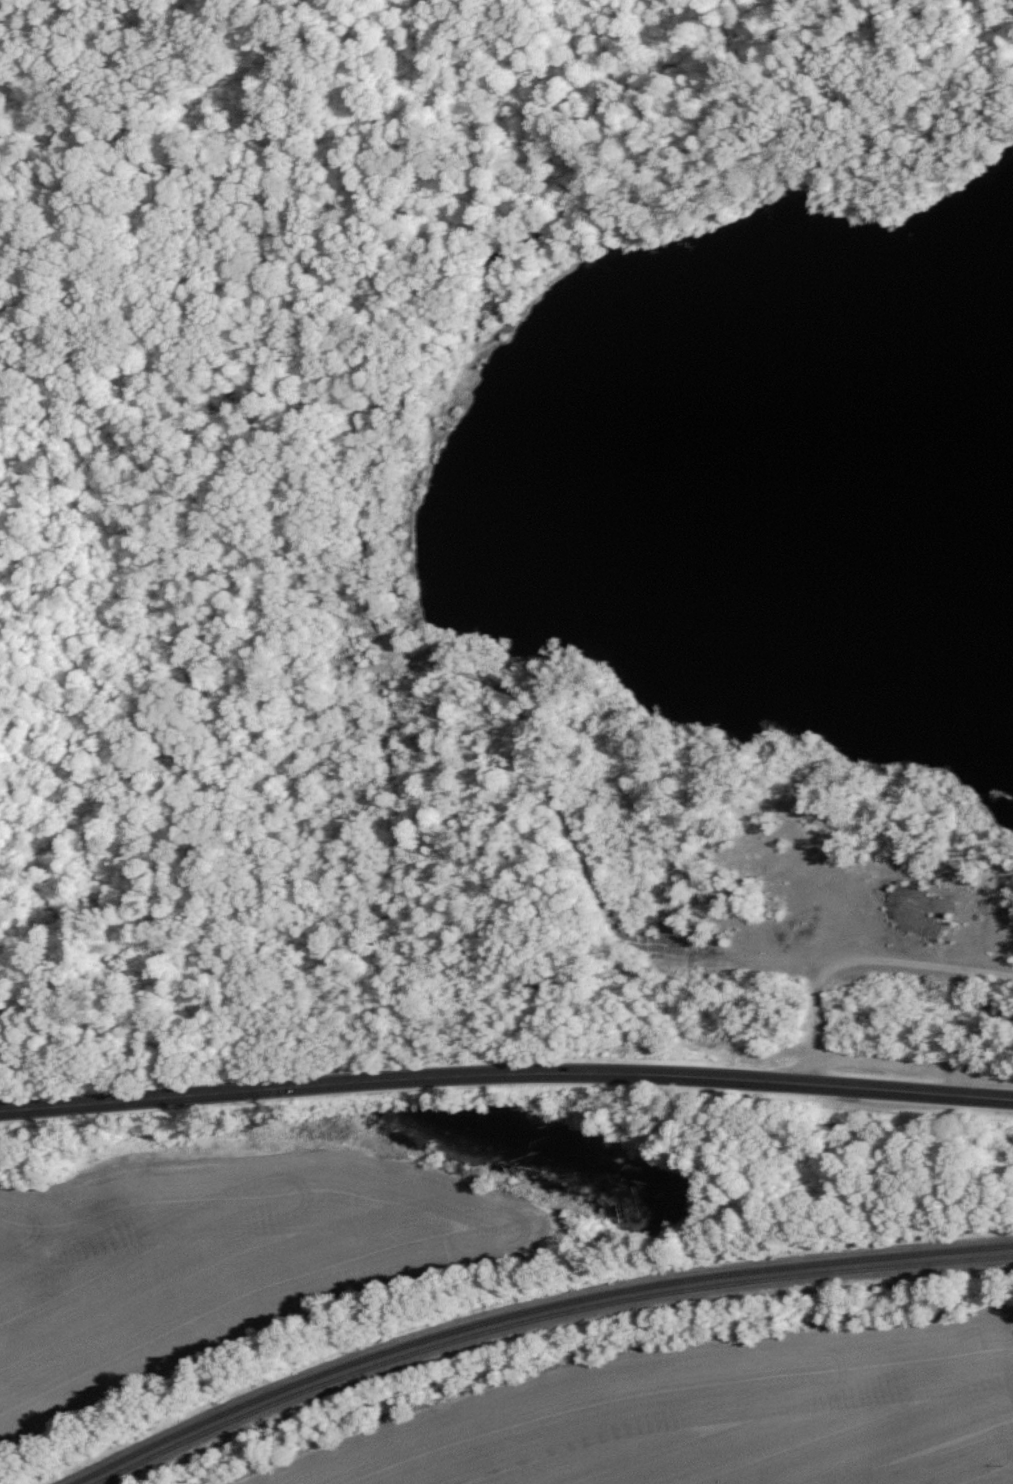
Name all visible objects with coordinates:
road: (506, 1063)
railway: (532, 1311)
railway: (543, 1322)

